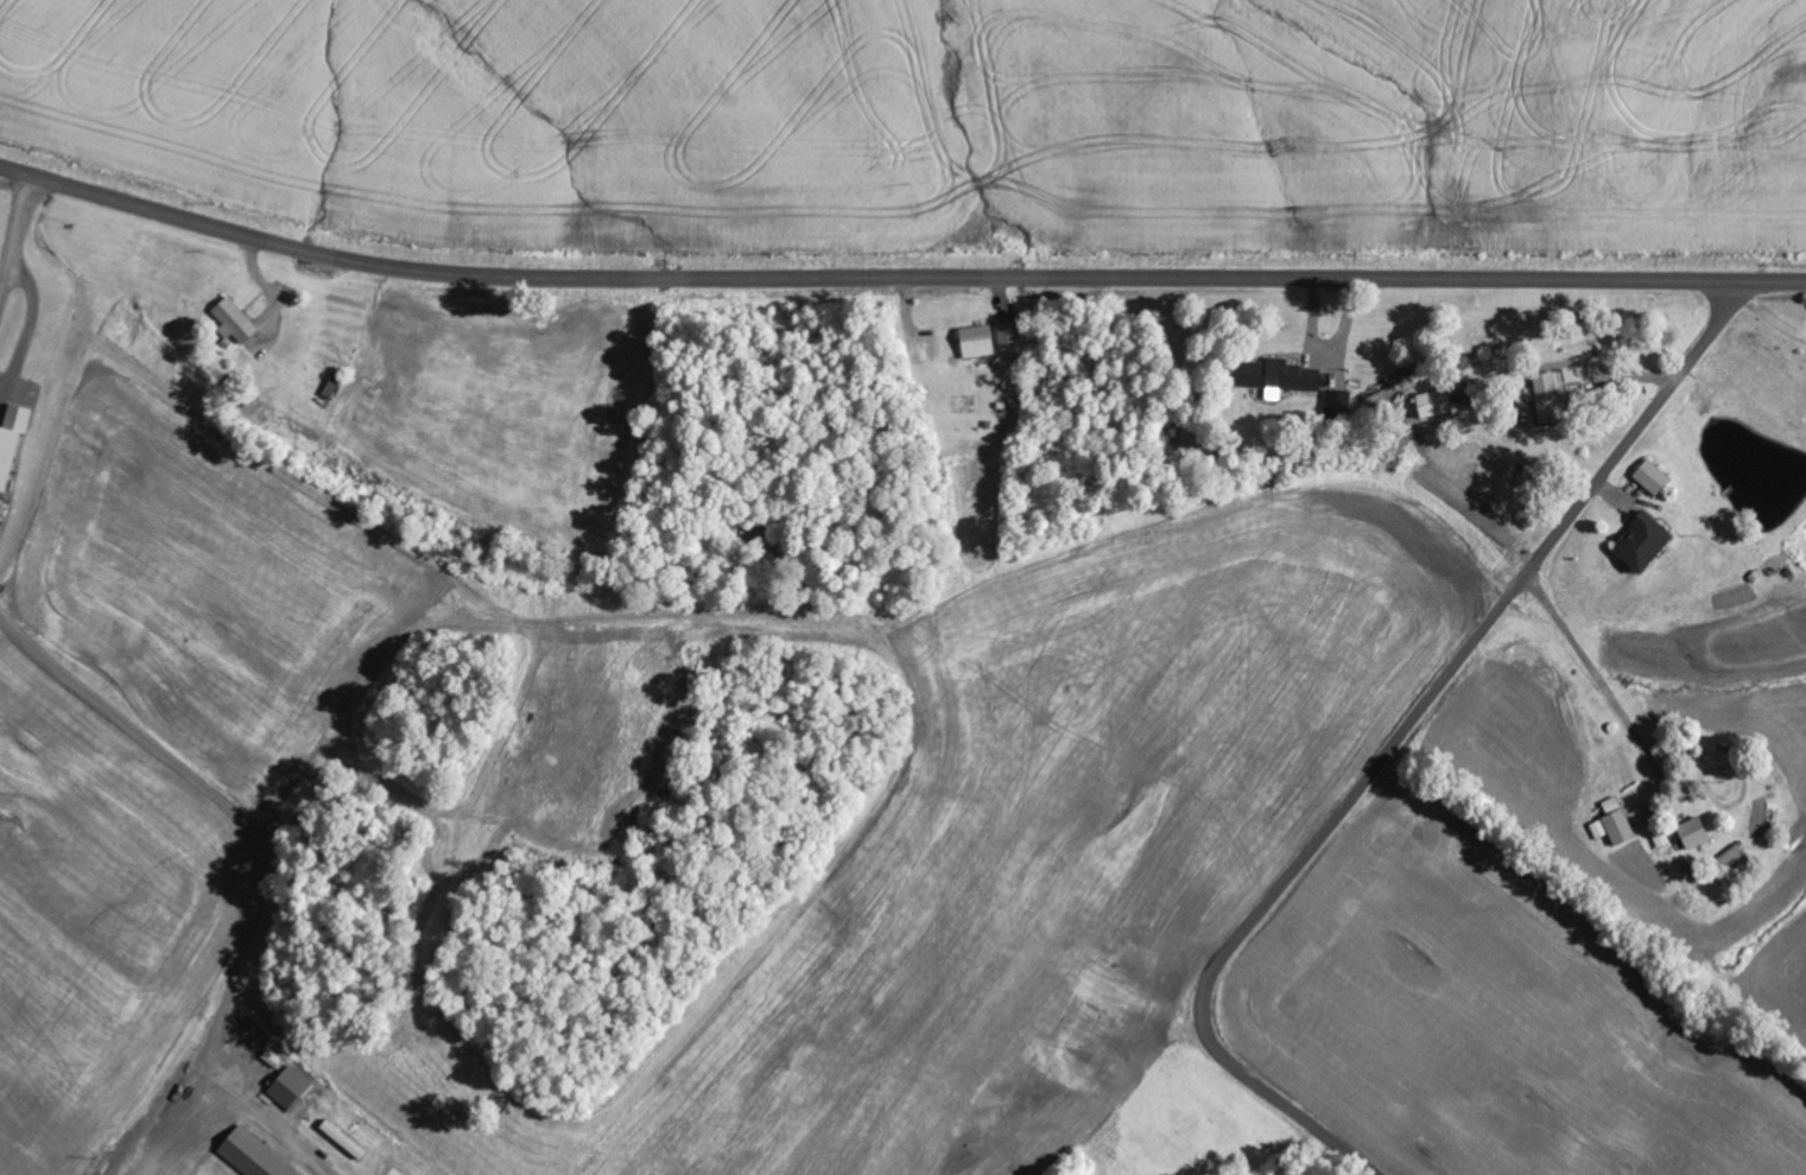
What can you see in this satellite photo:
road: (895, 278)
building: (247, 326)
building: (1010, 334)
building: (977, 341)
building: (1291, 377)
building: (1546, 393)
building: (1338, 402)
building: (1431, 404)
road: (63, 408)
building: (14, 444)
building: (1652, 477)
road: (754, 501)
building: (1640, 541)
road: (1399, 738)
building: (1612, 824)
building: (1691, 833)
building: (294, 1088)
building: (349, 1139)
building: (256, 1156)

